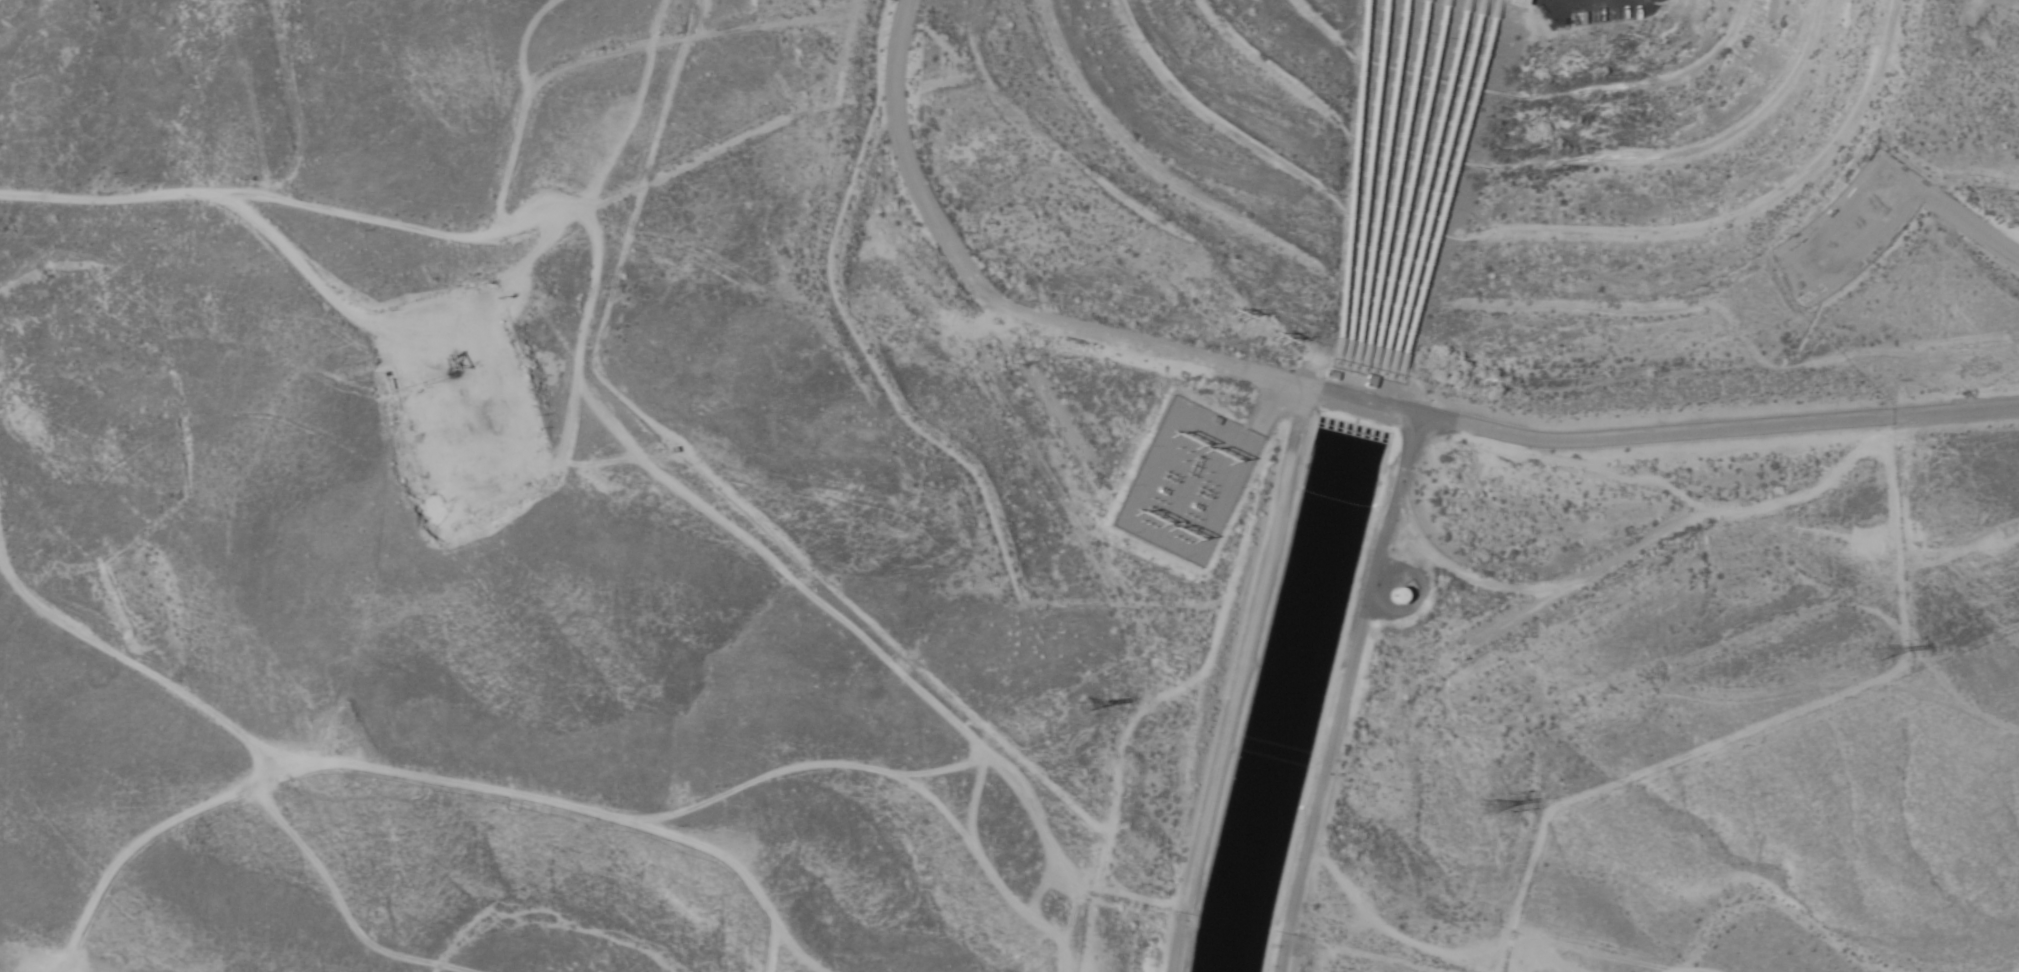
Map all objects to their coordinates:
road: (21, 40)
road: (894, 46)
road: (1947, 209)
road: (458, 231)
power tower: (1229, 316)
power tower: (1277, 338)
road: (480, 339)
road: (1384, 406)
power substation: (1188, 479)
building: (1395, 596)
road: (1900, 600)
power tower: (1879, 661)
road: (1238, 679)
road: (1344, 692)
power tower: (1079, 713)
road: (840, 791)
power tower: (1487, 820)
road: (168, 847)
road: (1066, 922)

